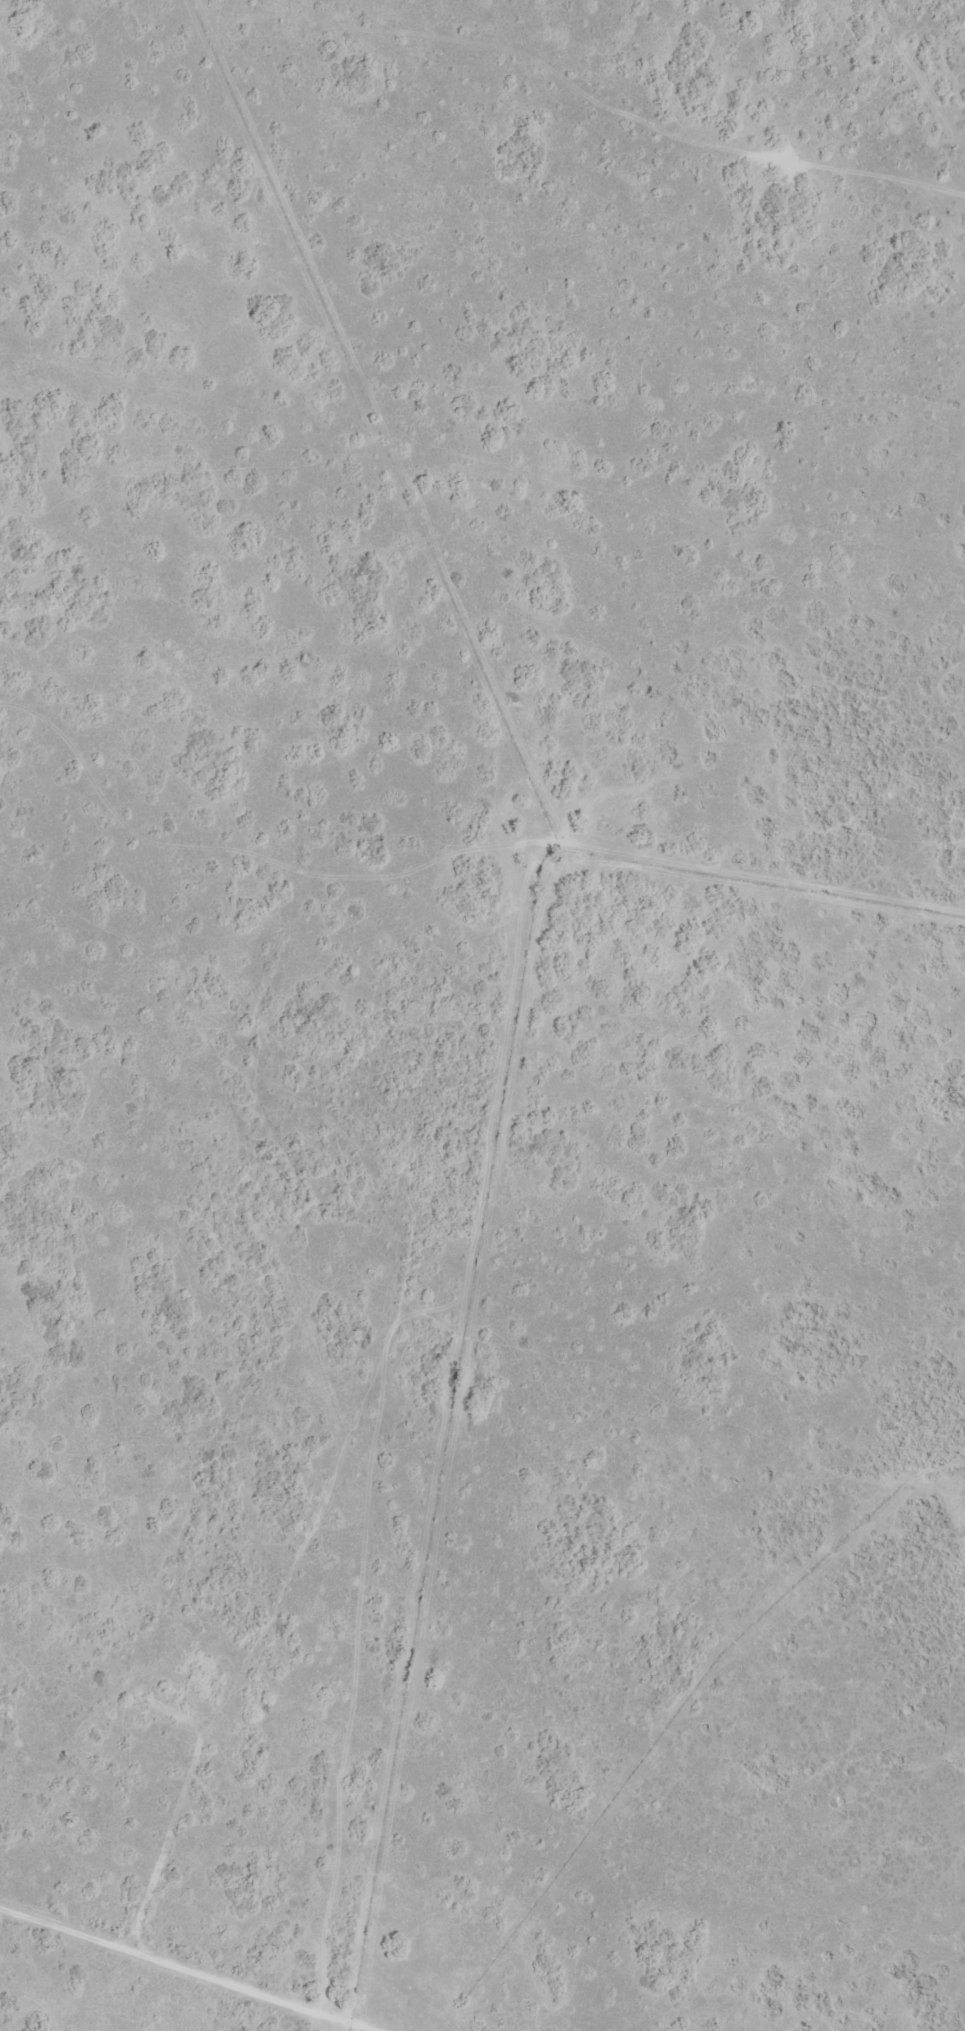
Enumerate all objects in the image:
road: (204, 1963)

